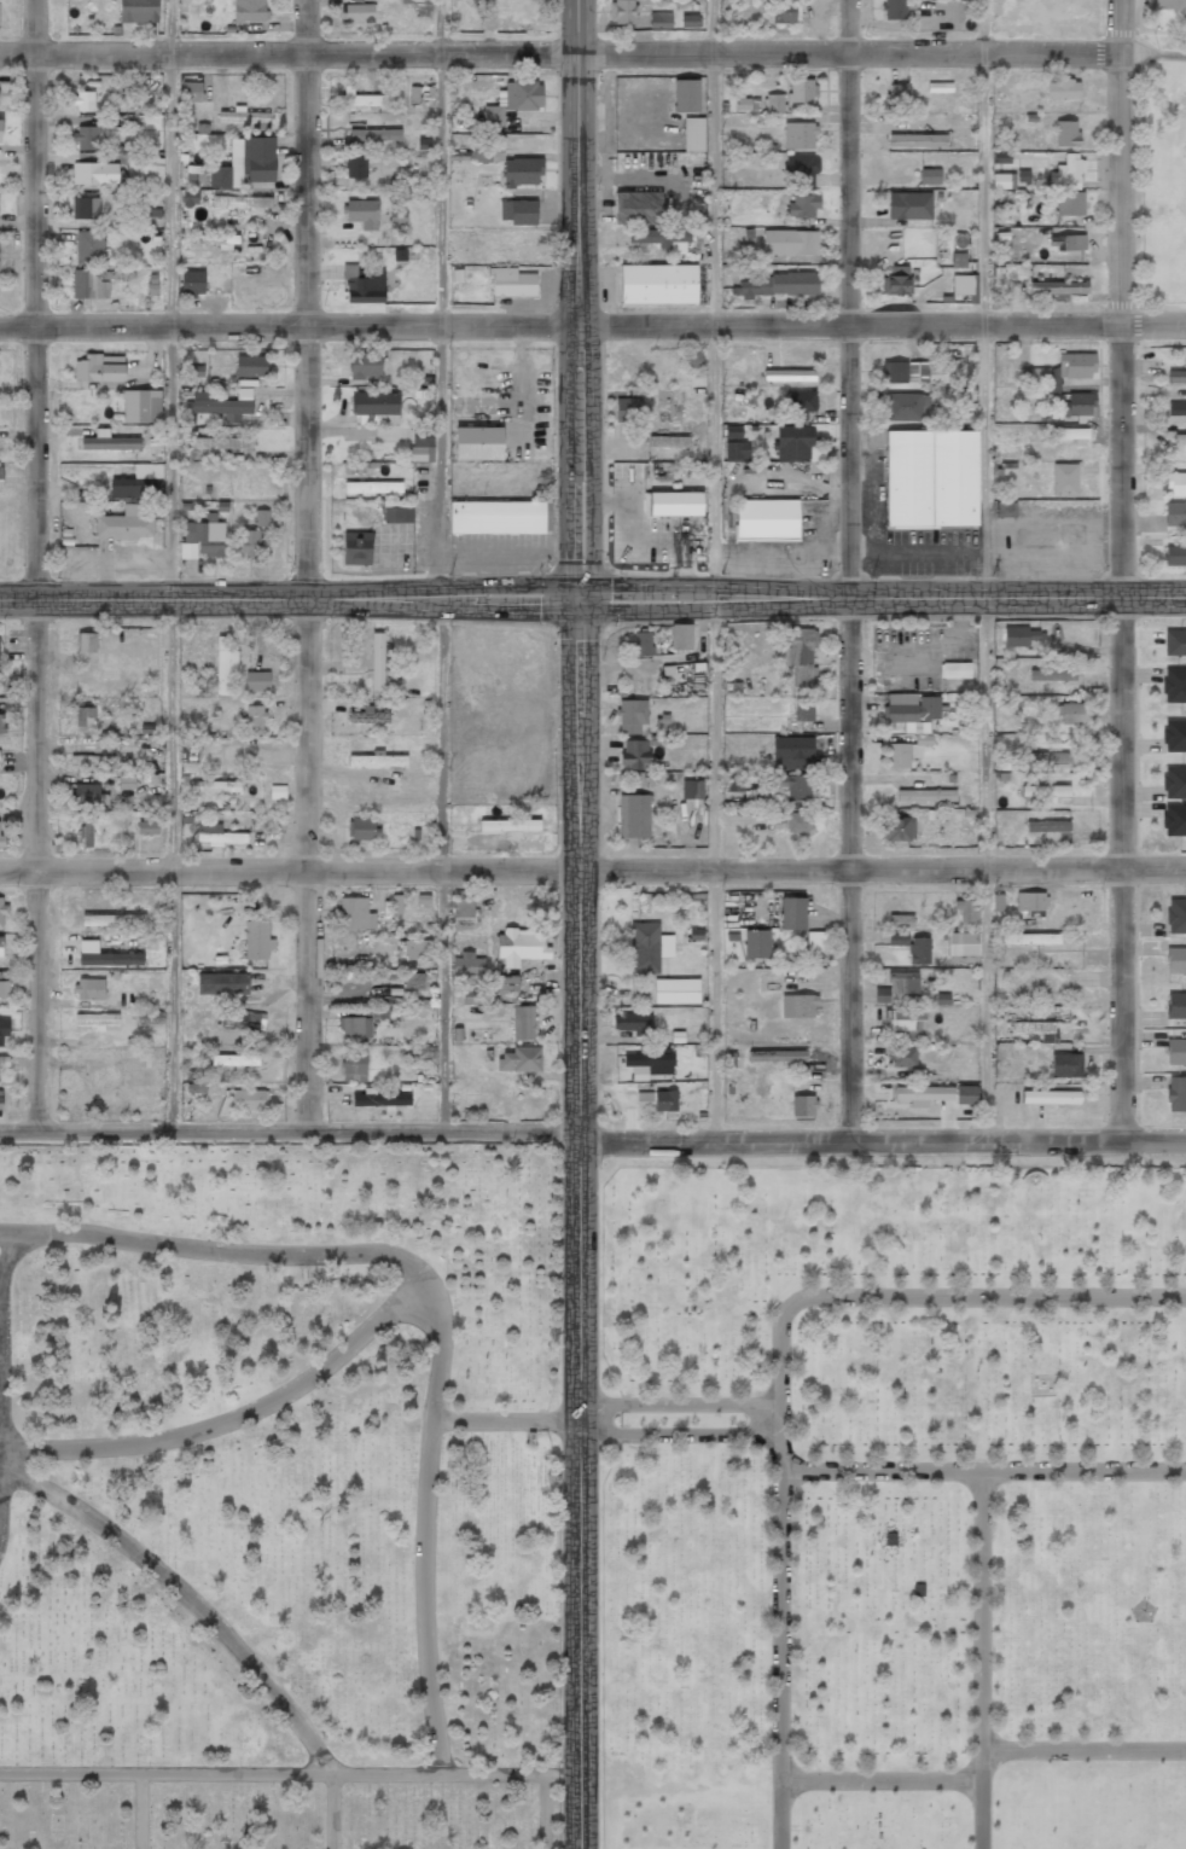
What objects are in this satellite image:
building: (1168, 4)
building: (896, 8)
building: (250, 10)
building: (138, 11)
building: (621, 11)
building: (356, 12)
building: (783, 12)
building: (661, 19)
building: (688, 21)
road: (560, 56)
building: (1063, 88)
building: (191, 91)
building: (802, 91)
building: (522, 94)
building: (686, 95)
building: (896, 95)
building: (359, 98)
building: (83, 101)
building: (774, 103)
building: (494, 115)
building: (242, 116)
building: (0, 129)
building: (897, 132)
building: (1066, 133)
building: (374, 134)
building: (693, 134)
building: (798, 135)
building: (87, 138)
building: (483, 151)
building: (1001, 157)
building: (258, 159)
building: (355, 167)
building: (801, 169)
building: (1068, 170)
building: (522, 171)
building: (95, 173)
building: (152, 173)
building: (227, 174)
building: (929, 176)
building: (1004, 180)
building: (190, 198)
building: (242, 202)
building: (1070, 203)
building: (802, 205)
building: (908, 205)
building: (94, 207)
building: (636, 208)
building: (518, 211)
building: (362, 213)
building: (397, 216)
building: (658, 236)
building: (217, 240)
building: (790, 242)
building: (1070, 242)
building: (89, 246)
building: (529, 254)
building: (958, 260)
building: (192, 281)
building: (896, 281)
building: (512, 283)
building: (658, 284)
building: (778, 284)
building: (961, 284)
building: (366, 286)
building: (1058, 287)
road: (576, 297)
road: (593, 326)
building: (693, 357)
building: (365, 364)
building: (250, 365)
building: (99, 367)
building: (626, 368)
building: (193, 371)
building: (903, 371)
building: (1060, 371)
building: (789, 374)
building: (1176, 376)
building: (800, 403)
building: (1077, 403)
building: (223, 405)
building: (141, 406)
building: (906, 406)
building: (376, 407)
building: (1176, 408)
building: (628, 409)
building: (1068, 432)
building: (1180, 438)
building: (668, 441)
building: (110, 442)
building: (792, 442)
building: (221, 443)
building: (478, 443)
building: (734, 443)
building: (422, 446)
building: (931, 478)
building: (0, 479)
building: (1064, 479)
building: (139, 483)
building: (1176, 483)
building: (372, 485)
building: (674, 504)
building: (397, 511)
building: (1175, 513)
building: (261, 517)
building: (496, 517)
building: (766, 518)
building: (124, 524)
building: (205, 535)
building: (250, 542)
building: (356, 547)
building: (187, 550)
building: (1175, 556)
road: (39, 564)
road: (170, 564)
road: (303, 564)
road: (442, 564)
road: (715, 566)
road: (987, 570)
road: (853, 571)
road: (1128, 571)
road: (290, 594)
road: (884, 594)
building: (1019, 635)
building: (681, 636)
building: (86, 643)
building: (643, 643)
building: (1174, 643)
building: (800, 655)
building: (379, 659)
building: (225, 665)
building: (954, 669)
building: (1052, 674)
building: (257, 681)
building: (1174, 685)
building: (803, 709)
building: (912, 710)
building: (1072, 713)
building: (632, 715)
building: (85, 716)
building: (254, 716)
building: (370, 716)
building: (1, 723)
building: (1174, 735)
building: (792, 752)
building: (635, 754)
building: (902, 754)
building: (1043, 757)
building: (92, 760)
building: (377, 760)
building: (127, 781)
building: (733, 781)
building: (1174, 781)
building: (791, 784)
building: (215, 786)
building: (692, 789)
building: (925, 795)
building: (634, 815)
building: (1174, 819)
building: (798, 821)
building: (510, 826)
building: (147, 827)
building: (365, 828)
building: (897, 828)
building: (1051, 831)
building: (87, 832)
building: (214, 832)
building: (2, 841)
road: (593, 871)
building: (1030, 901)
building: (396, 903)
building: (463, 907)
building: (2, 909)
building: (966, 911)
building: (355, 913)
building: (792, 913)
building: (1176, 915)
building: (114, 919)
building: (900, 920)
building: (897, 938)
building: (1030, 938)
building: (257, 940)
building: (816, 941)
building: (756, 943)
building: (961, 943)
building: (1, 946)
building: (522, 946)
building: (646, 947)
building: (417, 949)
building: (919, 950)
building: (110, 959)
building: (1175, 960)
building: (467, 964)
building: (414, 981)
building: (222, 984)
building: (897, 984)
building: (1033, 984)
building: (4, 988)
building: (89, 989)
building: (676, 990)
building: (471, 995)
building: (798, 1005)
building: (1176, 1005)
building: (150, 1017)
building: (97, 1019)
building: (242, 1019)
building: (523, 1022)
building: (905, 1022)
building: (633, 1023)
building: (354, 1027)
building: (4, 1029)
building: (1036, 1029)
building: (1175, 1051)
building: (777, 1056)
building: (902, 1056)
building: (519, 1059)
building: (4, 1060)
building: (236, 1060)
building: (649, 1064)
building: (1066, 1065)
building: (354, 1066)
building: (1176, 1093)
building: (923, 1094)
building: (966, 1094)
building: (1051, 1097)
building: (248, 1099)
building: (380, 1099)
building: (644, 1100)
building: (664, 1100)
building: (0, 1103)
building: (803, 1105)
road: (560, 1129)
road: (1153, 1144)
road: (580, 1221)
road: (935, 1296)
road: (679, 1401)
road: (679, 1435)
road: (982, 1470)
park: (588, 1500)
road: (779, 1624)
road: (981, 1659)
road: (1083, 1748)
road: (880, 1780)

